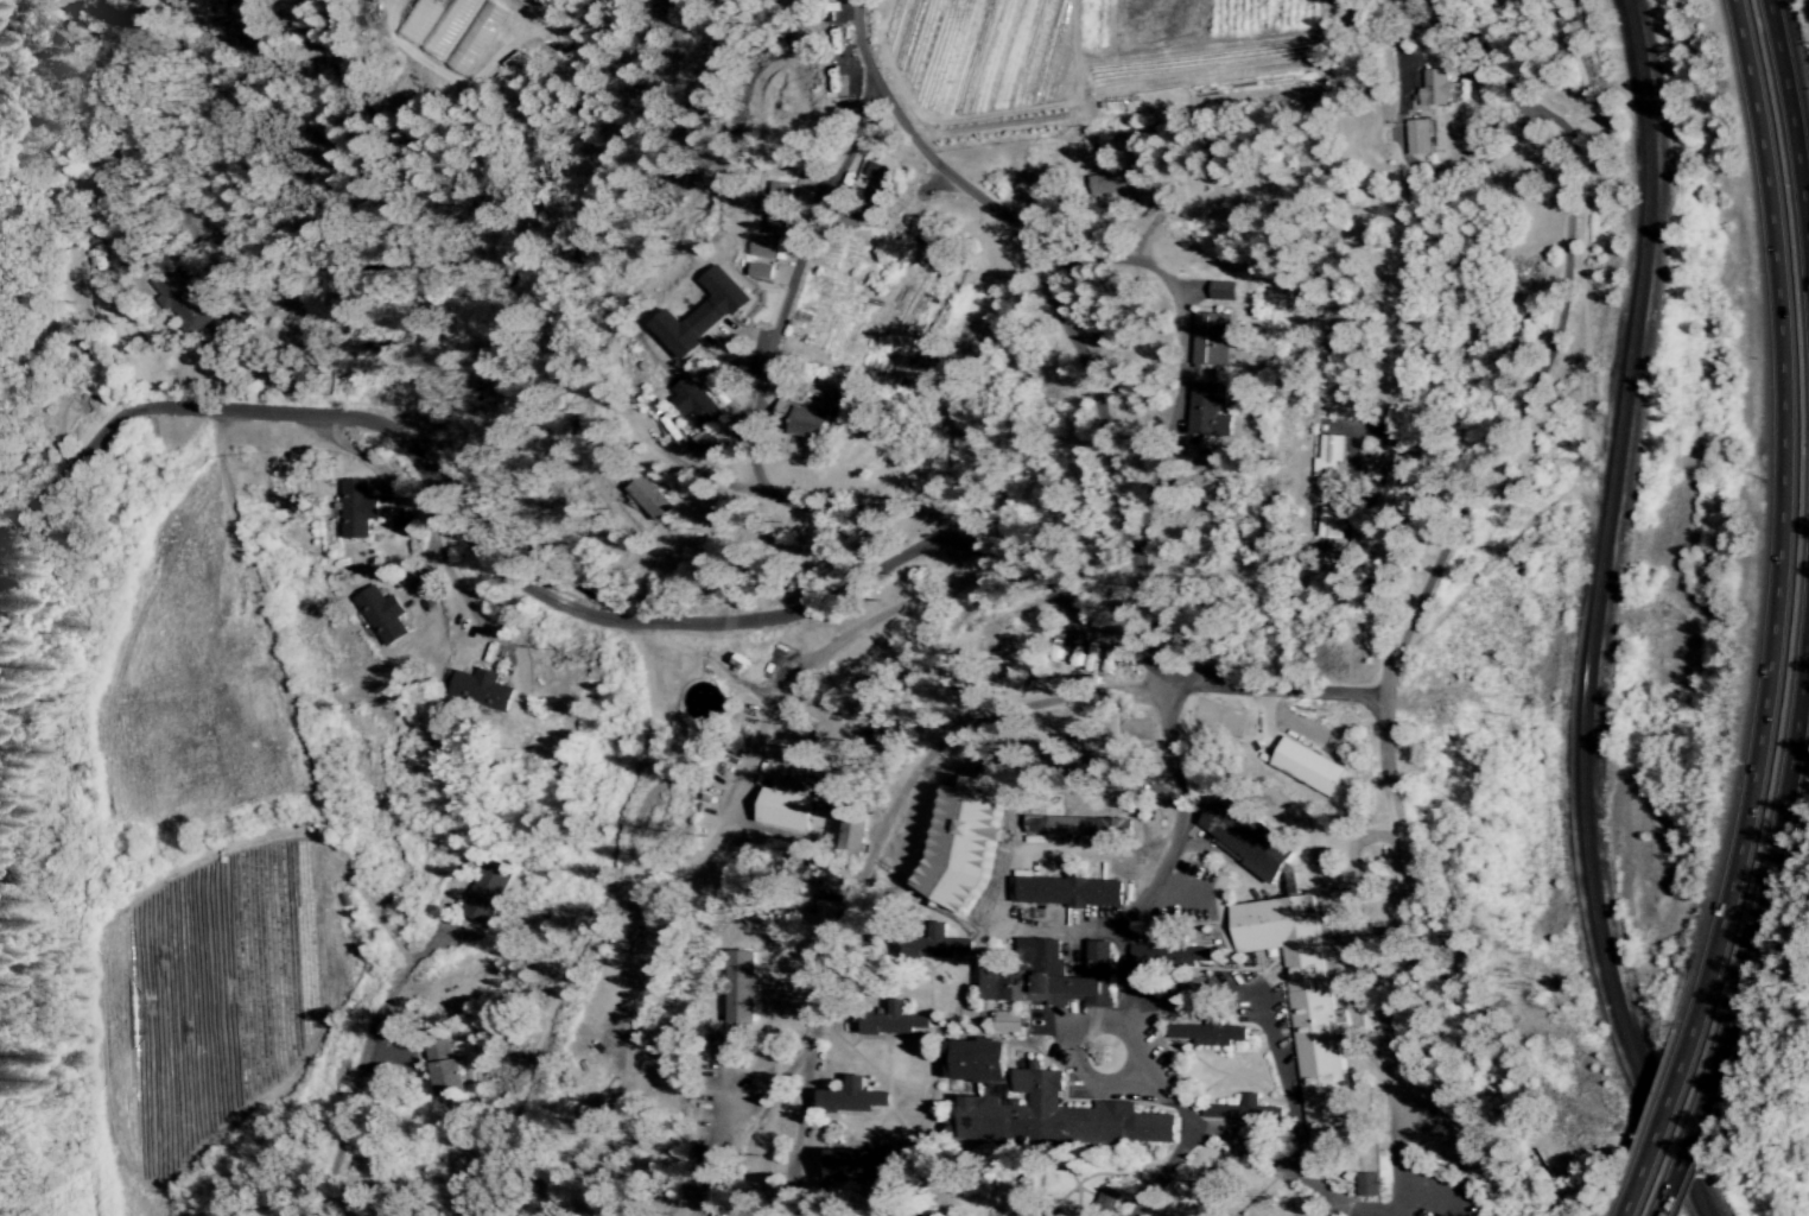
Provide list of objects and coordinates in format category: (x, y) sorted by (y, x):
road: (9, 4)
building: (419, 20)
road: (840, 36)
building: (475, 39)
building: (1434, 89)
road: (103, 115)
building: (1417, 138)
road: (1790, 138)
building: (877, 184)
building: (760, 271)
building: (1221, 291)
road: (1124, 299)
building: (179, 300)
building: (698, 316)
road: (1071, 322)
road: (768, 340)
building: (1210, 340)
road: (1112, 373)
road: (1511, 381)
building: (1207, 412)
building: (700, 418)
building: (804, 422)
building: (1327, 456)
building: (649, 499)
building: (356, 511)
road: (457, 513)
road: (928, 513)
road: (1778, 518)
building: (1328, 524)
road: (986, 560)
building: (381, 615)
railway: (1594, 615)
road: (1104, 632)
building: (480, 689)
road: (1086, 692)
road: (1284, 697)
road: (907, 717)
road: (1379, 759)
building: (1306, 767)
building: (785, 809)
building: (1069, 825)
building: (851, 835)
road: (1776, 836)
building: (959, 843)
building: (1244, 843)
building: (831, 887)
building: (485, 891)
building: (1066, 892)
building: (934, 945)
building: (1169, 954)
building: (1046, 975)
building: (740, 992)
building: (1301, 1000)
road: (1261, 1013)
building: (1008, 1021)
building: (1206, 1031)
road: (357, 1063)
road: (1072, 1063)
building: (444, 1069)
building: (851, 1097)
building: (1040, 1106)
building: (1242, 1111)
road: (1658, 1123)
road: (1689, 1138)
road: (1276, 1152)
building: (855, 1165)
building: (1365, 1185)
building: (1104, 1201)
road: (1324, 1205)

